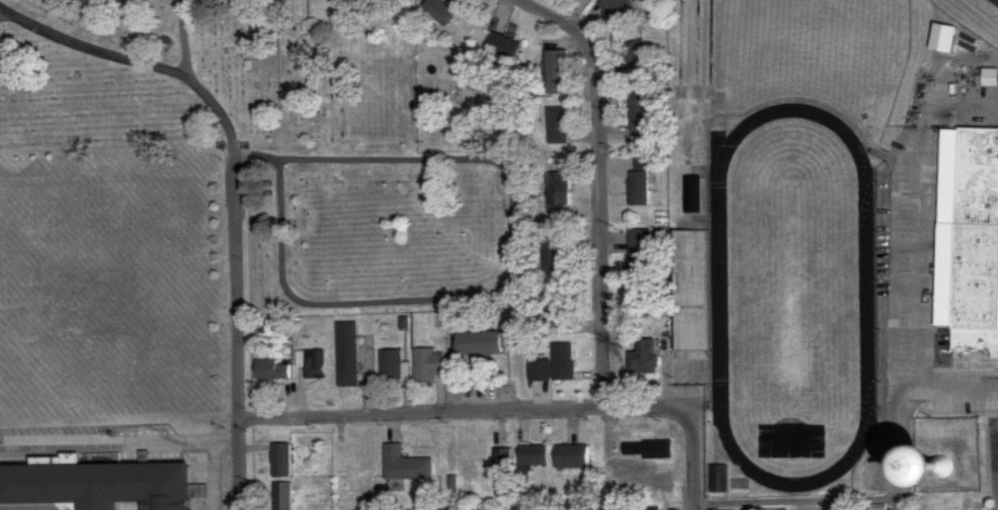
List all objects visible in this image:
building: (439, 10)
building: (617, 10)
building: (941, 37)
road: (185, 39)
park: (804, 39)
building: (502, 48)
road: (92, 49)
building: (637, 57)
building: (556, 72)
building: (989, 77)
building: (638, 113)
road: (220, 114)
building: (558, 126)
park: (276, 144)
road: (602, 183)
building: (638, 188)
building: (557, 189)
building: (695, 193)
road: (904, 216)
building: (969, 236)
building: (557, 254)
building: (639, 259)
road: (928, 263)
road: (512, 269)
building: (693, 289)
park: (795, 292)
park: (794, 296)
track: (868, 298)
building: (554, 314)
road: (239, 334)
building: (478, 343)
building: (347, 354)
building: (643, 355)
building: (562, 361)
building: (315, 363)
building: (427, 364)
building: (273, 370)
road: (957, 386)
road: (464, 413)
road: (897, 444)
building: (533, 455)
building: (570, 456)
building: (502, 457)
building: (282, 460)
road: (693, 462)
building: (404, 465)
water tower: (944, 468)
building: (718, 479)
building: (97, 483)
building: (282, 496)
road: (797, 501)
building: (649, 507)

